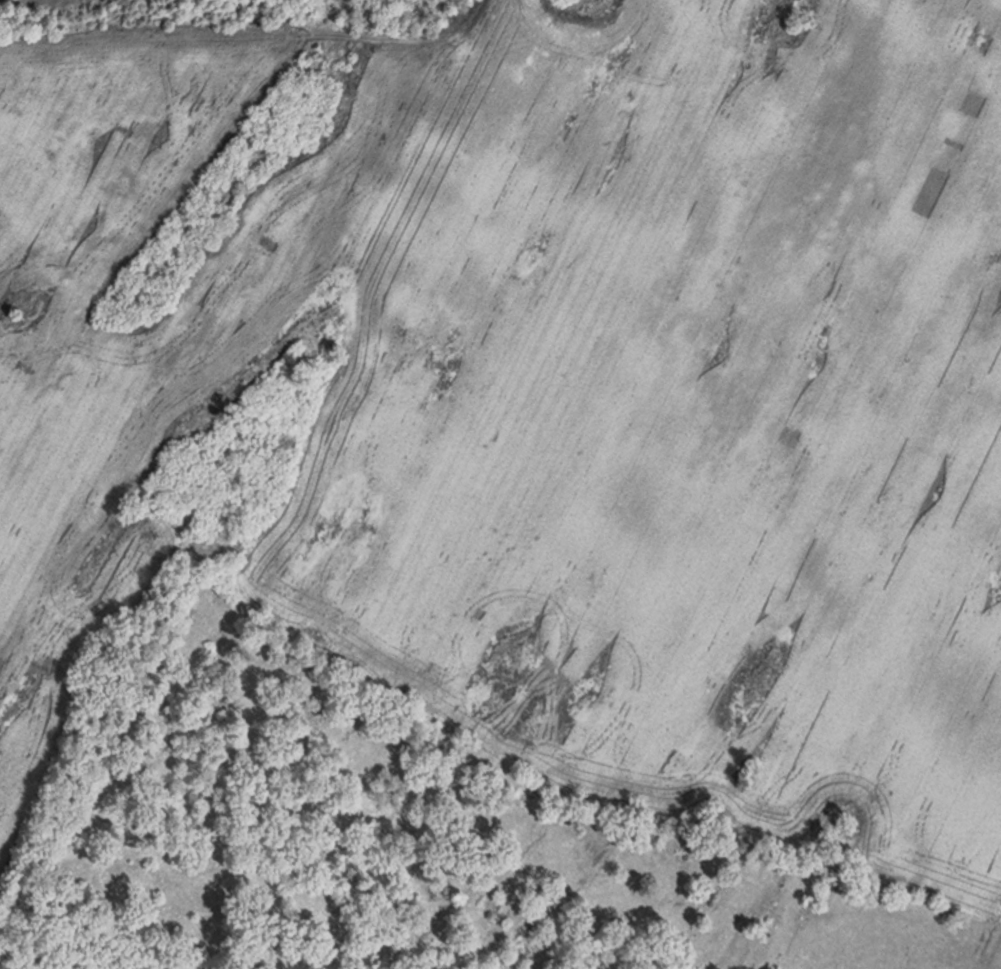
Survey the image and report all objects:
park: (224, 15)
road: (235, 476)

